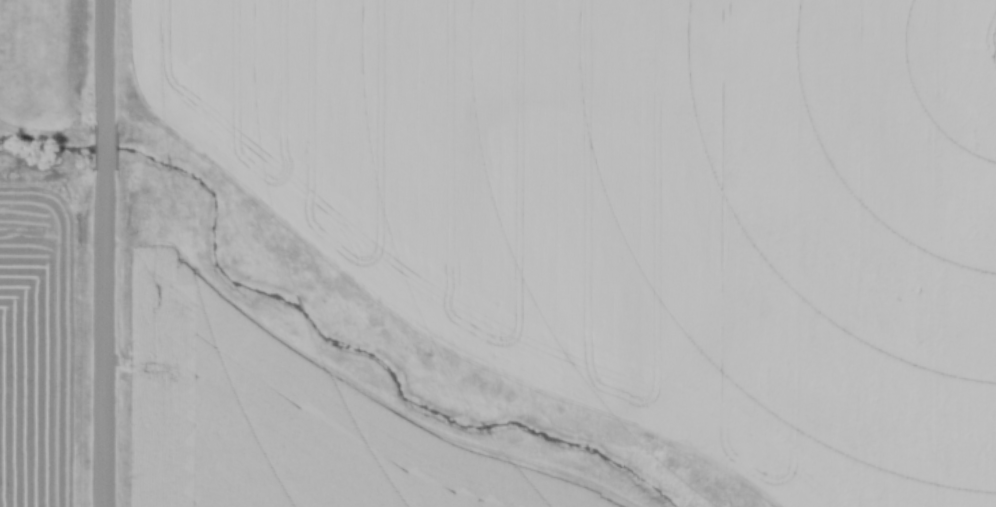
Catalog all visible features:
road: (107, 253)

